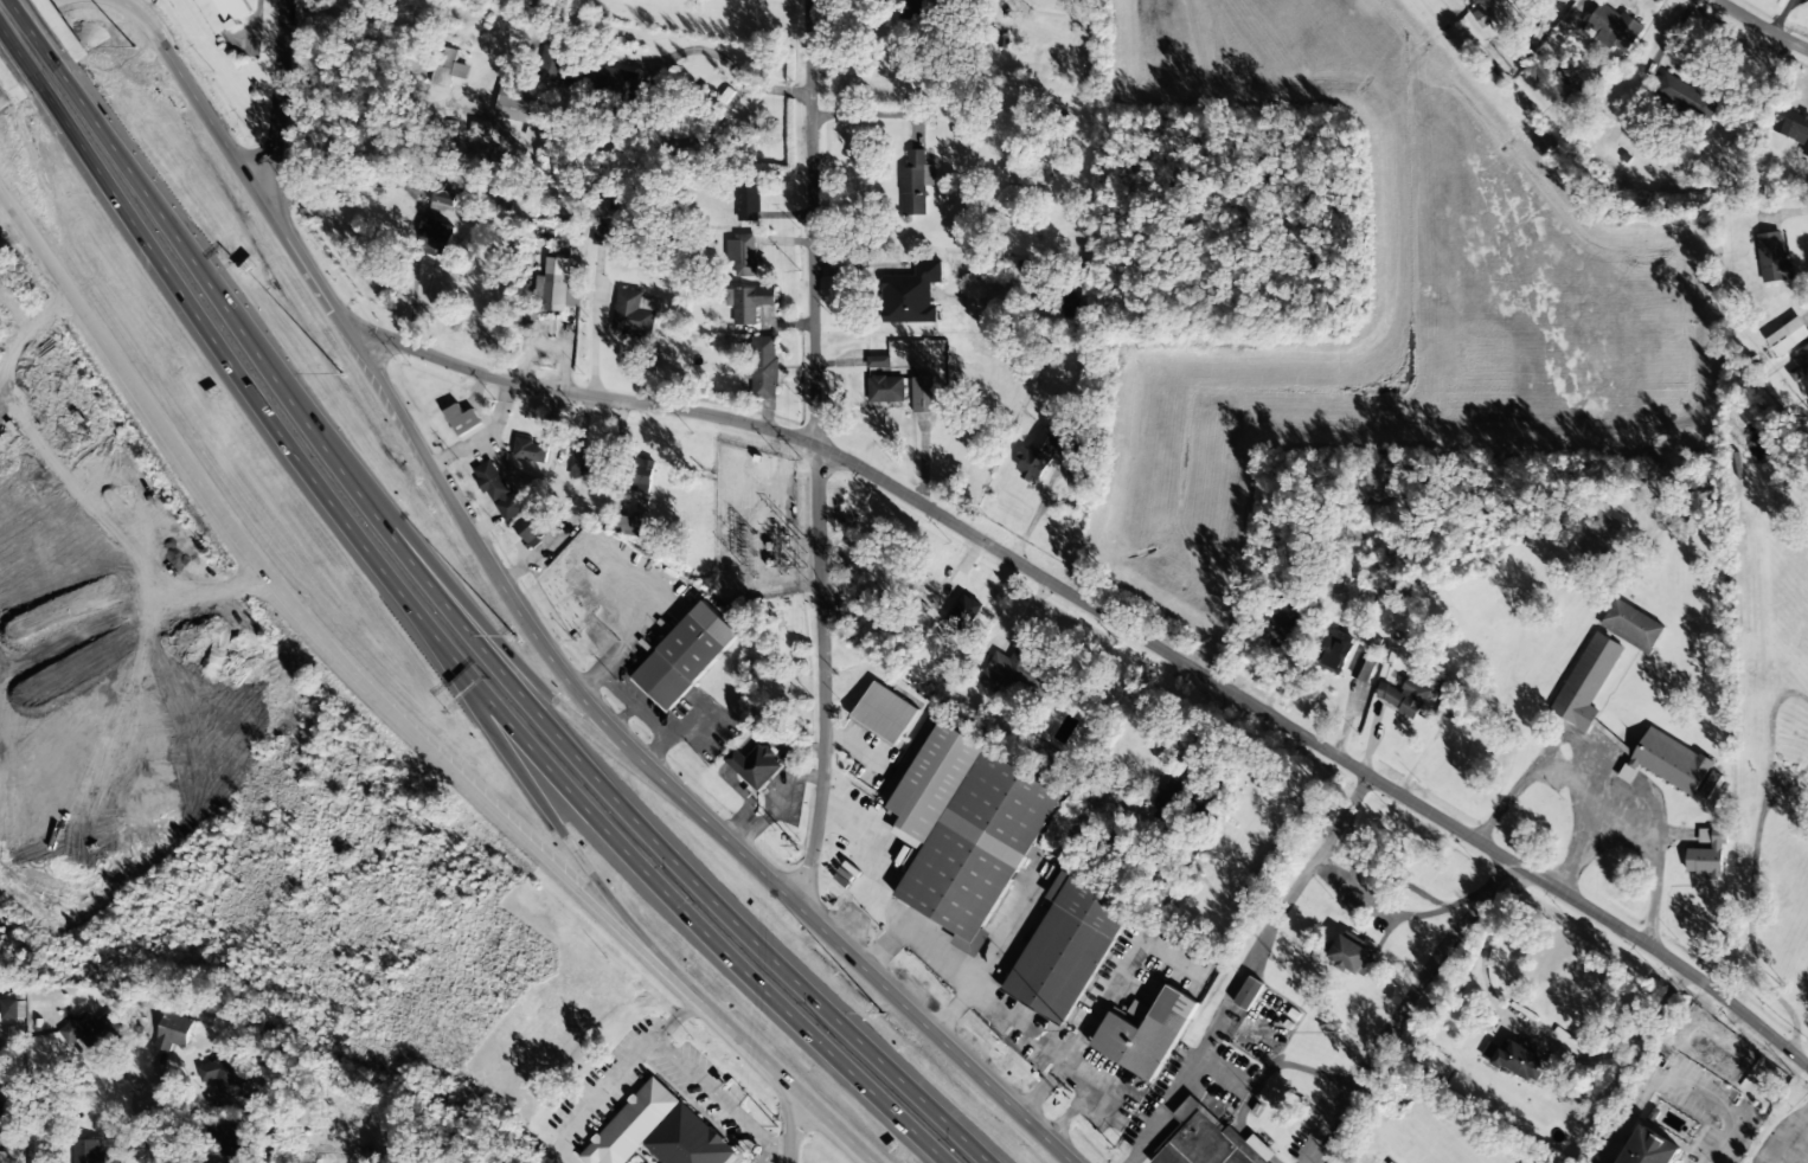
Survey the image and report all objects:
road: (127, 5)
building: (912, 9)
building: (222, 12)
road: (24, 14)
building: (1481, 18)
road: (1762, 24)
building: (1613, 26)
road: (34, 31)
road: (18, 56)
building: (552, 64)
building: (445, 66)
building: (610, 81)
building: (1687, 96)
road: (274, 103)
building: (512, 103)
road: (200, 108)
building: (1793, 126)
building: (912, 185)
building: (432, 192)
building: (746, 201)
building: (604, 226)
building: (435, 238)
building: (742, 253)
building: (1771, 256)
road: (301, 265)
building: (559, 290)
building: (910, 294)
building: (750, 303)
building: (631, 314)
building: (527, 315)
road: (352, 341)
building: (1780, 342)
building: (1804, 353)
building: (878, 361)
building: (763, 367)
building: (885, 388)
building: (922, 394)
building: (462, 419)
road: (172, 446)
building: (530, 450)
road: (815, 455)
building: (1036, 456)
road: (427, 462)
building: (588, 462)
building: (637, 475)
building: (496, 490)
building: (533, 523)
building: (629, 523)
power substation: (754, 525)
road: (494, 577)
building: (1315, 578)
road: (1109, 615)
building: (1286, 624)
building: (1633, 625)
road: (527, 627)
road: (477, 649)
building: (1335, 650)
building: (686, 655)
road: (449, 657)
park: (778, 663)
building: (1363, 666)
building: (1014, 673)
building: (1586, 680)
building: (1402, 696)
road: (553, 701)
building: (884, 713)
building: (1668, 760)
building: (754, 765)
building: (1168, 799)
road: (549, 811)
road: (506, 821)
building: (979, 847)
building: (1706, 853)
road: (808, 918)
building: (1066, 947)
building: (1352, 952)
building: (1249, 992)
building: (11, 1008)
road: (677, 1019)
building: (1329, 1024)
building: (173, 1032)
building: (1145, 1032)
building: (94, 1033)
road: (763, 1059)
building: (1519, 1061)
building: (224, 1075)
parking lot: (699, 1082)
road: (604, 1091)
road: (717, 1099)
building: (1, 1110)
road: (788, 1122)
building: (629, 1125)
road: (155, 1131)
road: (1783, 1136)
building: (687, 1140)
building: (1207, 1140)
building: (222, 1143)
parking lot: (1783, 1144)
building: (1652, 1148)
building: (88, 1151)
road: (562, 1152)
road: (765, 1155)
building: (2, 1157)

